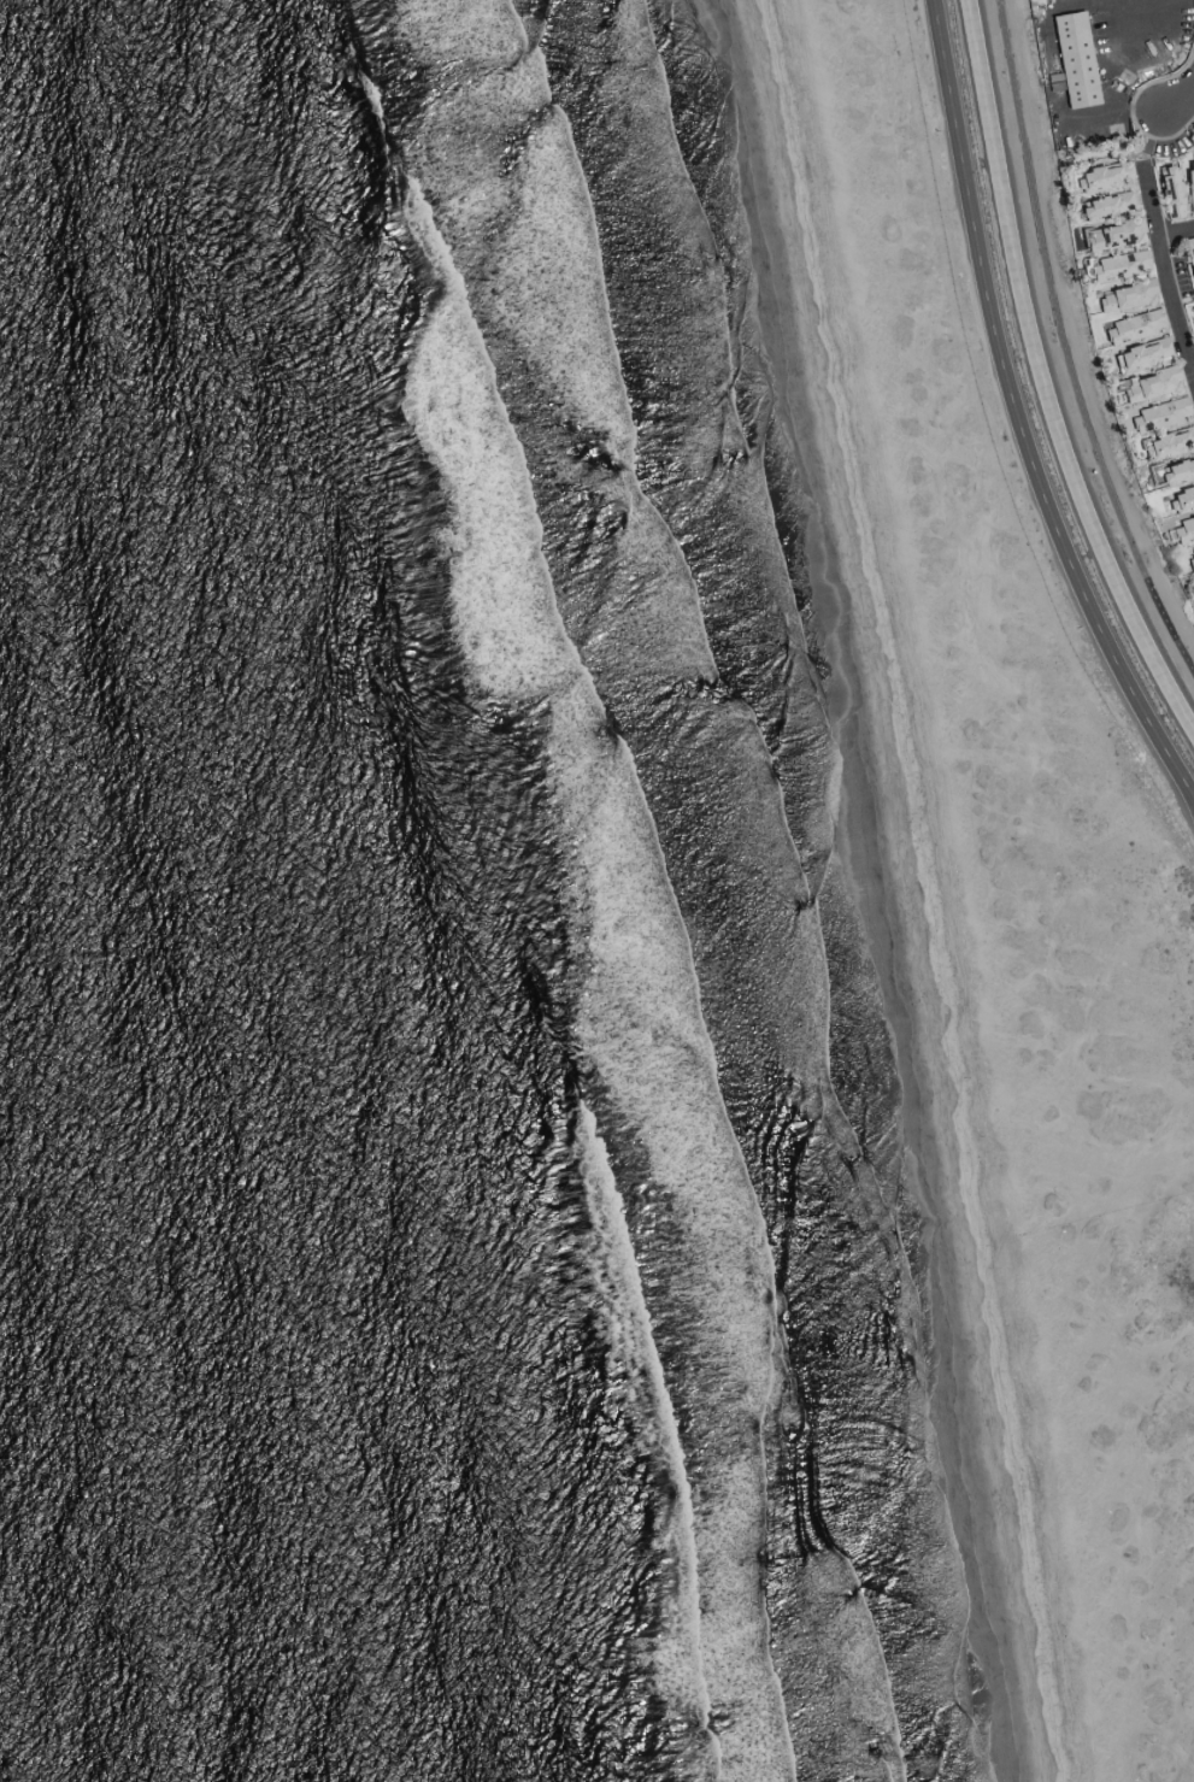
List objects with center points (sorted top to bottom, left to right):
road: (1036, 0)
road: (1113, 17)
road: (1158, 35)
building: (1072, 58)
road: (1180, 106)
road: (1188, 107)
road: (1112, 113)
building: (1100, 175)
building: (1189, 181)
building: (1169, 190)
building: (1104, 204)
building: (1111, 234)
road: (1177, 235)
building: (1189, 257)
building: (1117, 264)
road: (1169, 271)
building: (1125, 295)
building: (1190, 319)
building: (1131, 325)
road: (1066, 340)
building: (1140, 353)
road: (1042, 375)
building: (1148, 383)
road: (1021, 412)
building: (1158, 413)
building: (1167, 440)
building: (1172, 469)
building: (1181, 498)
building: (1182, 529)
building: (1189, 558)
building: (1193, 580)

